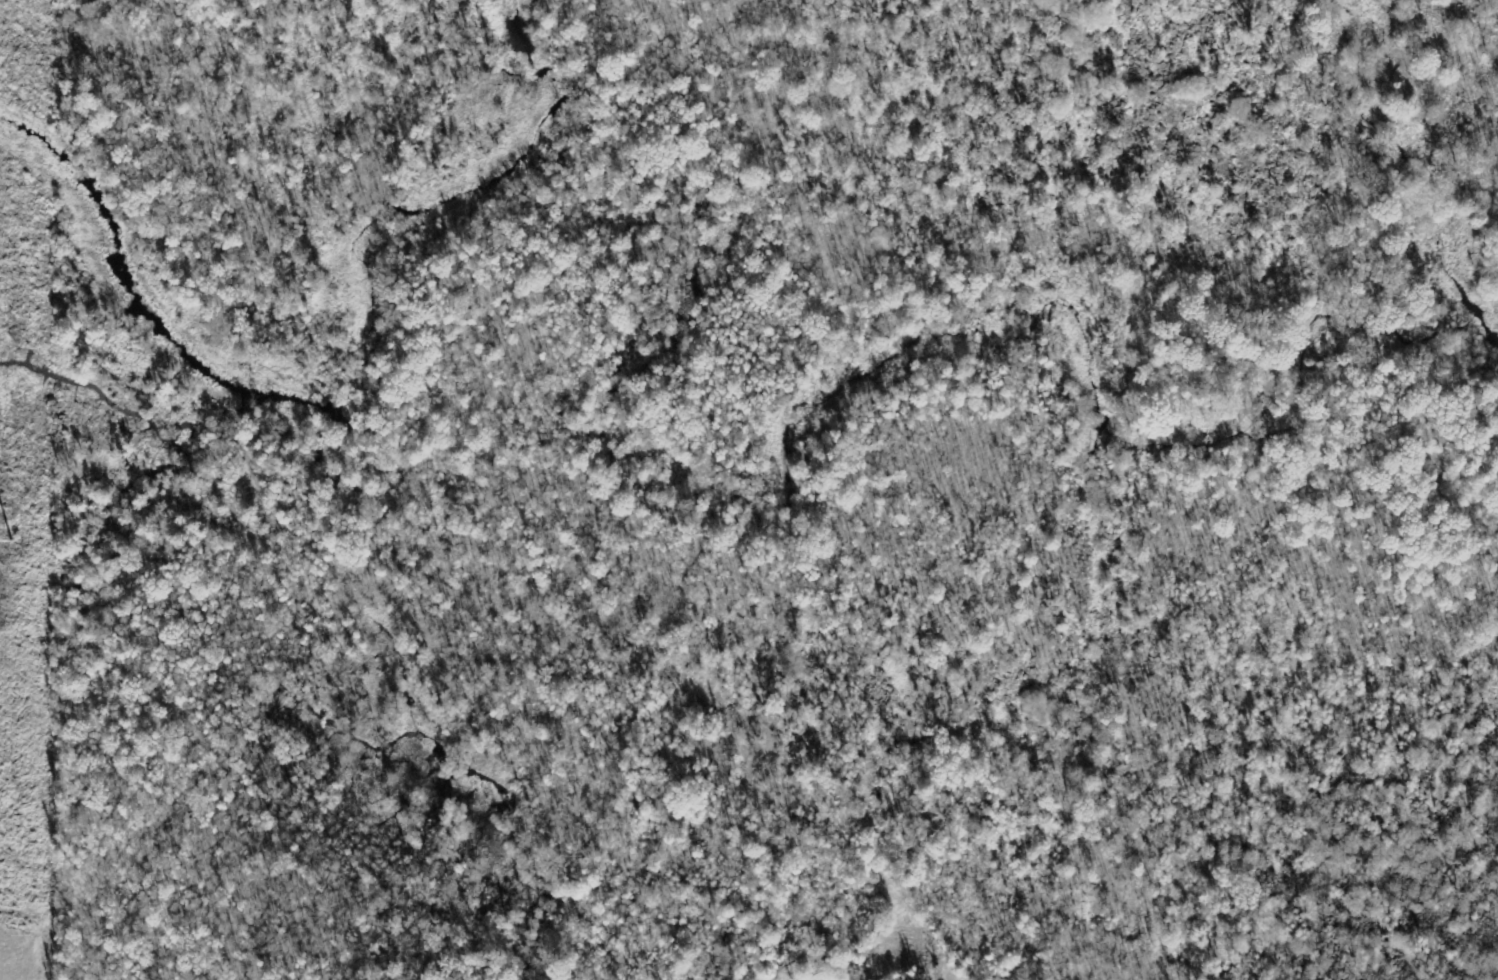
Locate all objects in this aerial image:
power tower: (24, 545)

